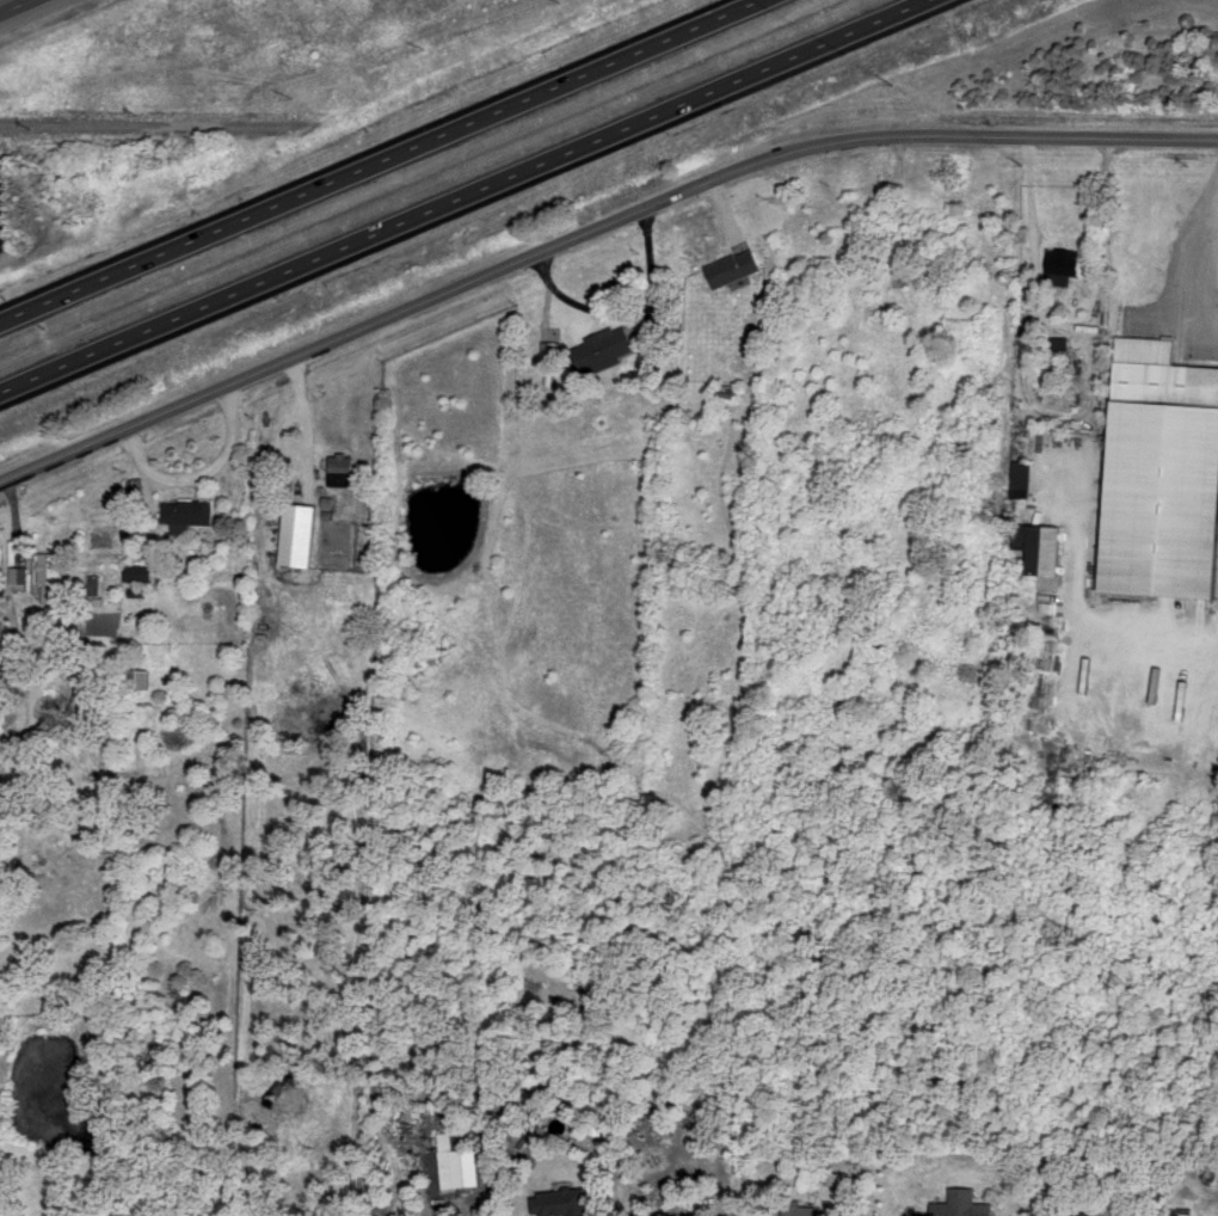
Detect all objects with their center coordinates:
road: (20, 8)
road: (143, 134)
road: (380, 161)
road: (469, 196)
road: (1028, 198)
road: (591, 232)
building: (1065, 264)
building: (737, 265)
road: (1213, 280)
building: (607, 346)
building: (550, 351)
building: (346, 467)
building: (1025, 474)
building: (1163, 475)
road: (201, 477)
building: (139, 485)
building: (191, 511)
building: (302, 533)
building: (1044, 543)
building: (18, 551)
building: (141, 571)
building: (19, 573)
building: (59, 578)
building: (97, 584)
building: (140, 590)
building: (462, 1155)
building: (833, 1177)
building: (565, 1200)
building: (966, 1204)
building: (808, 1209)
building: (1087, 1214)

